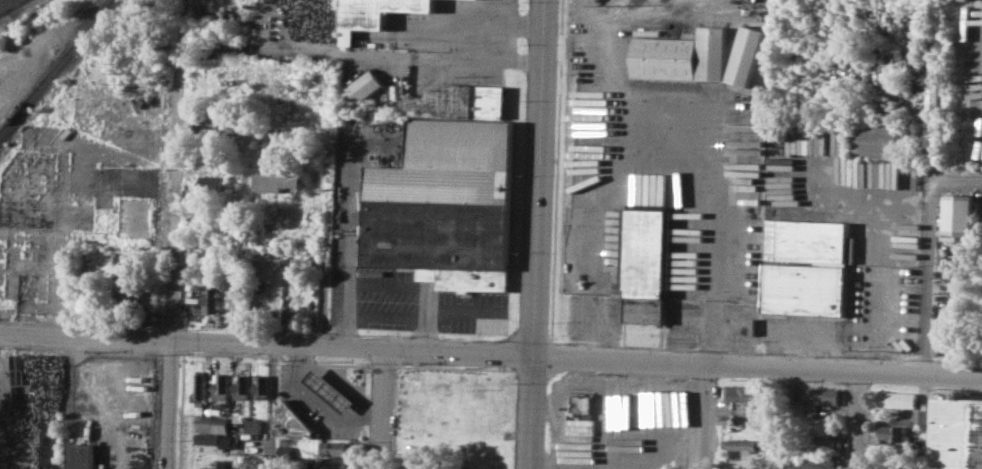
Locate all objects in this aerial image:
railway: (2, 1)
railway: (14, 5)
railway: (12, 6)
railway: (105, 8)
building: (377, 11)
power tower: (928, 12)
building: (682, 55)
road: (380, 56)
building: (745, 59)
road: (491, 62)
railway: (55, 65)
power tower: (131, 73)
power tower: (315, 86)
building: (363, 87)
road: (6, 95)
building: (214, 121)
road: (667, 125)
building: (877, 140)
building: (214, 182)
building: (281, 182)
road: (957, 183)
building: (450, 190)
building: (959, 214)
building: (136, 217)
road: (535, 234)
road: (355, 240)
building: (280, 245)
road: (179, 248)
building: (648, 252)
building: (806, 268)
road: (927, 278)
building: (127, 291)
building: (210, 297)
road: (193, 341)
road: (459, 352)
road: (756, 365)
building: (201, 384)
building: (221, 386)
building: (241, 386)
building: (261, 386)
building: (331, 390)
gas station: (331, 390)
building: (741, 392)
building: (820, 399)
building: (898, 399)
road: (322, 403)
road: (619, 404)
road: (271, 407)
road: (385, 409)
road: (703, 416)
building: (921, 417)
road: (858, 419)
building: (292, 421)
building: (211, 424)
building: (253, 425)
road: (560, 431)
building: (894, 433)
building: (959, 435)
building: (216, 439)
building: (827, 443)
building: (740, 444)
building: (336, 447)
road: (631, 450)
building: (82, 456)
building: (254, 462)
building: (335, 462)
building: (815, 462)
building: (417, 464)
building: (219, 465)

